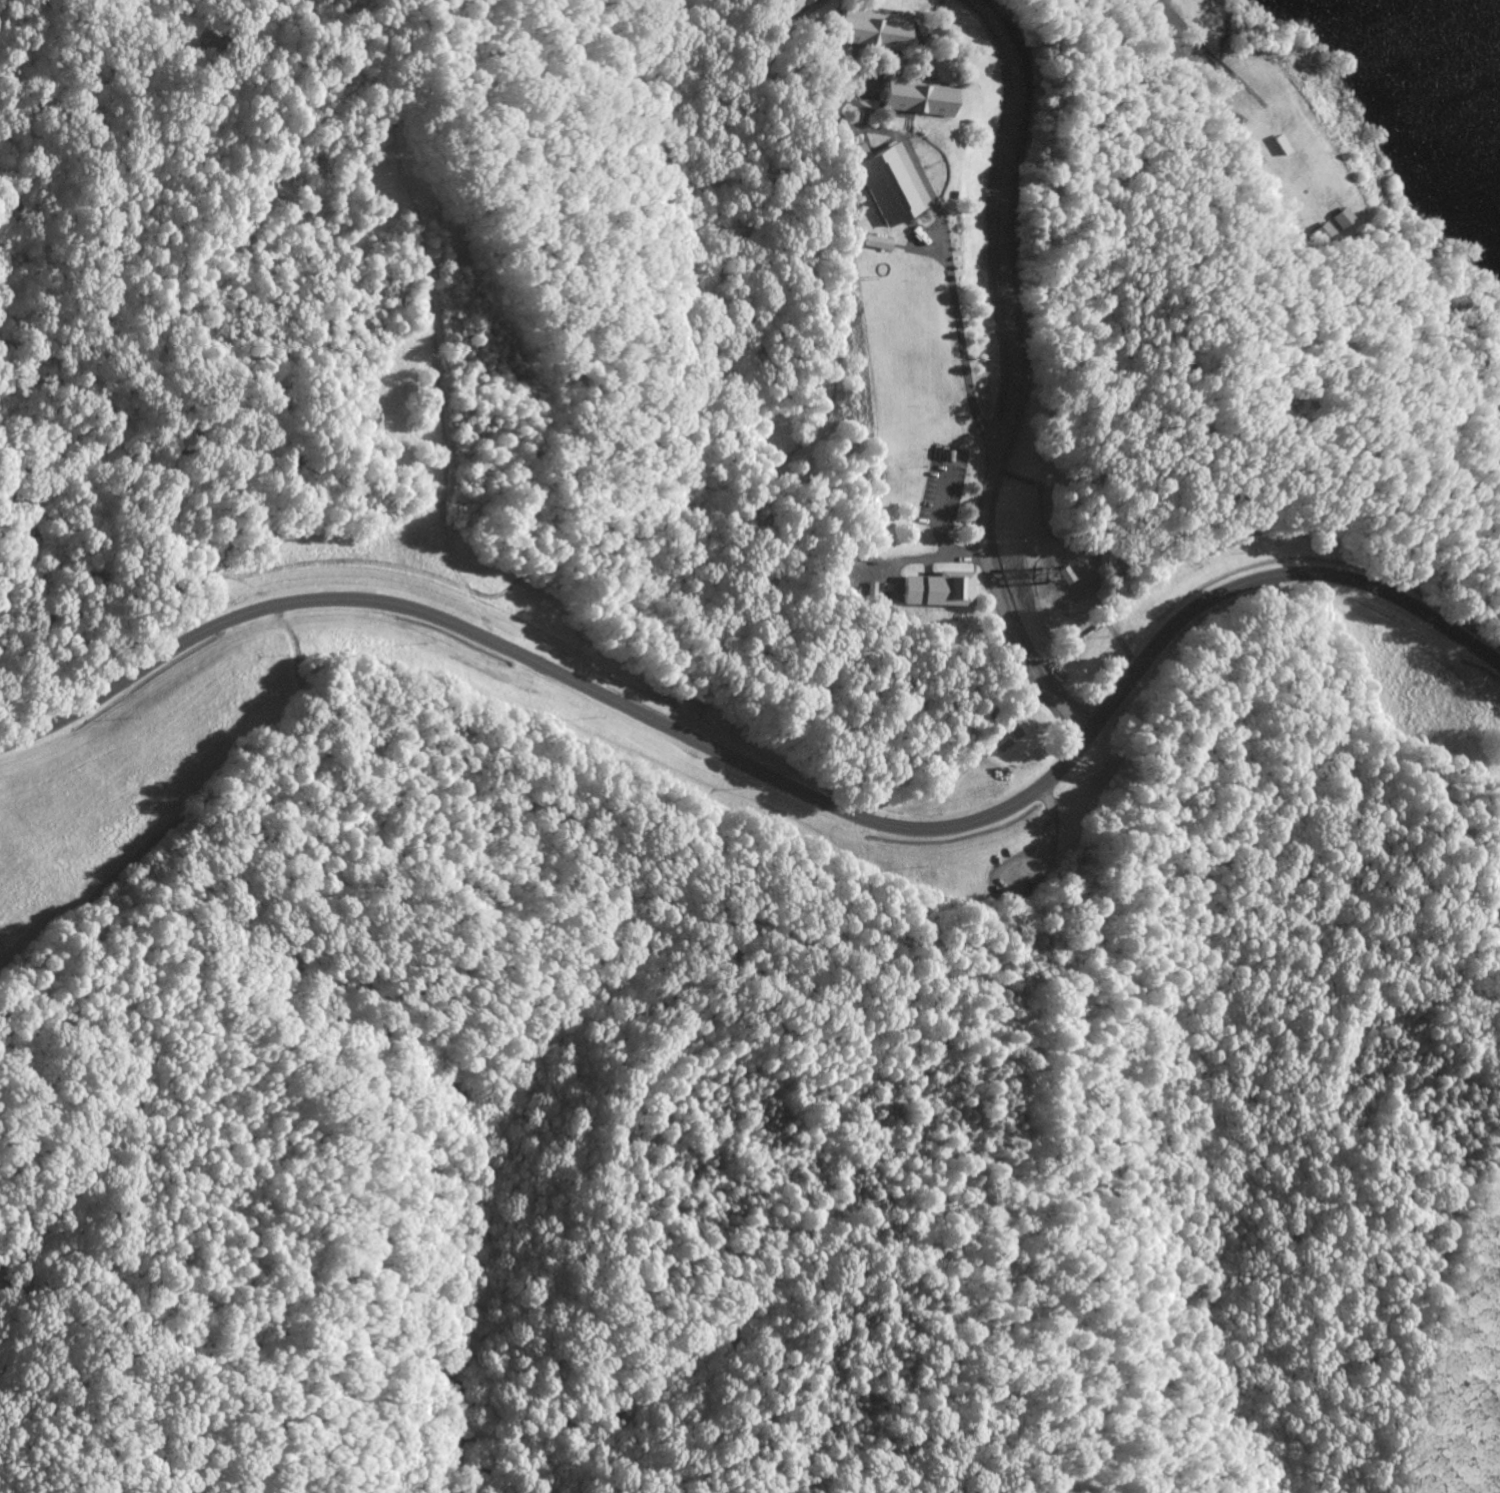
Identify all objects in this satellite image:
building: (800, 2)
building: (871, 28)
building: (915, 95)
building: (887, 181)
road: (1008, 375)
building: (937, 588)
park: (737, 758)
road: (783, 785)
road: (1038, 851)
road: (585, 1251)
road: (946, 1491)

